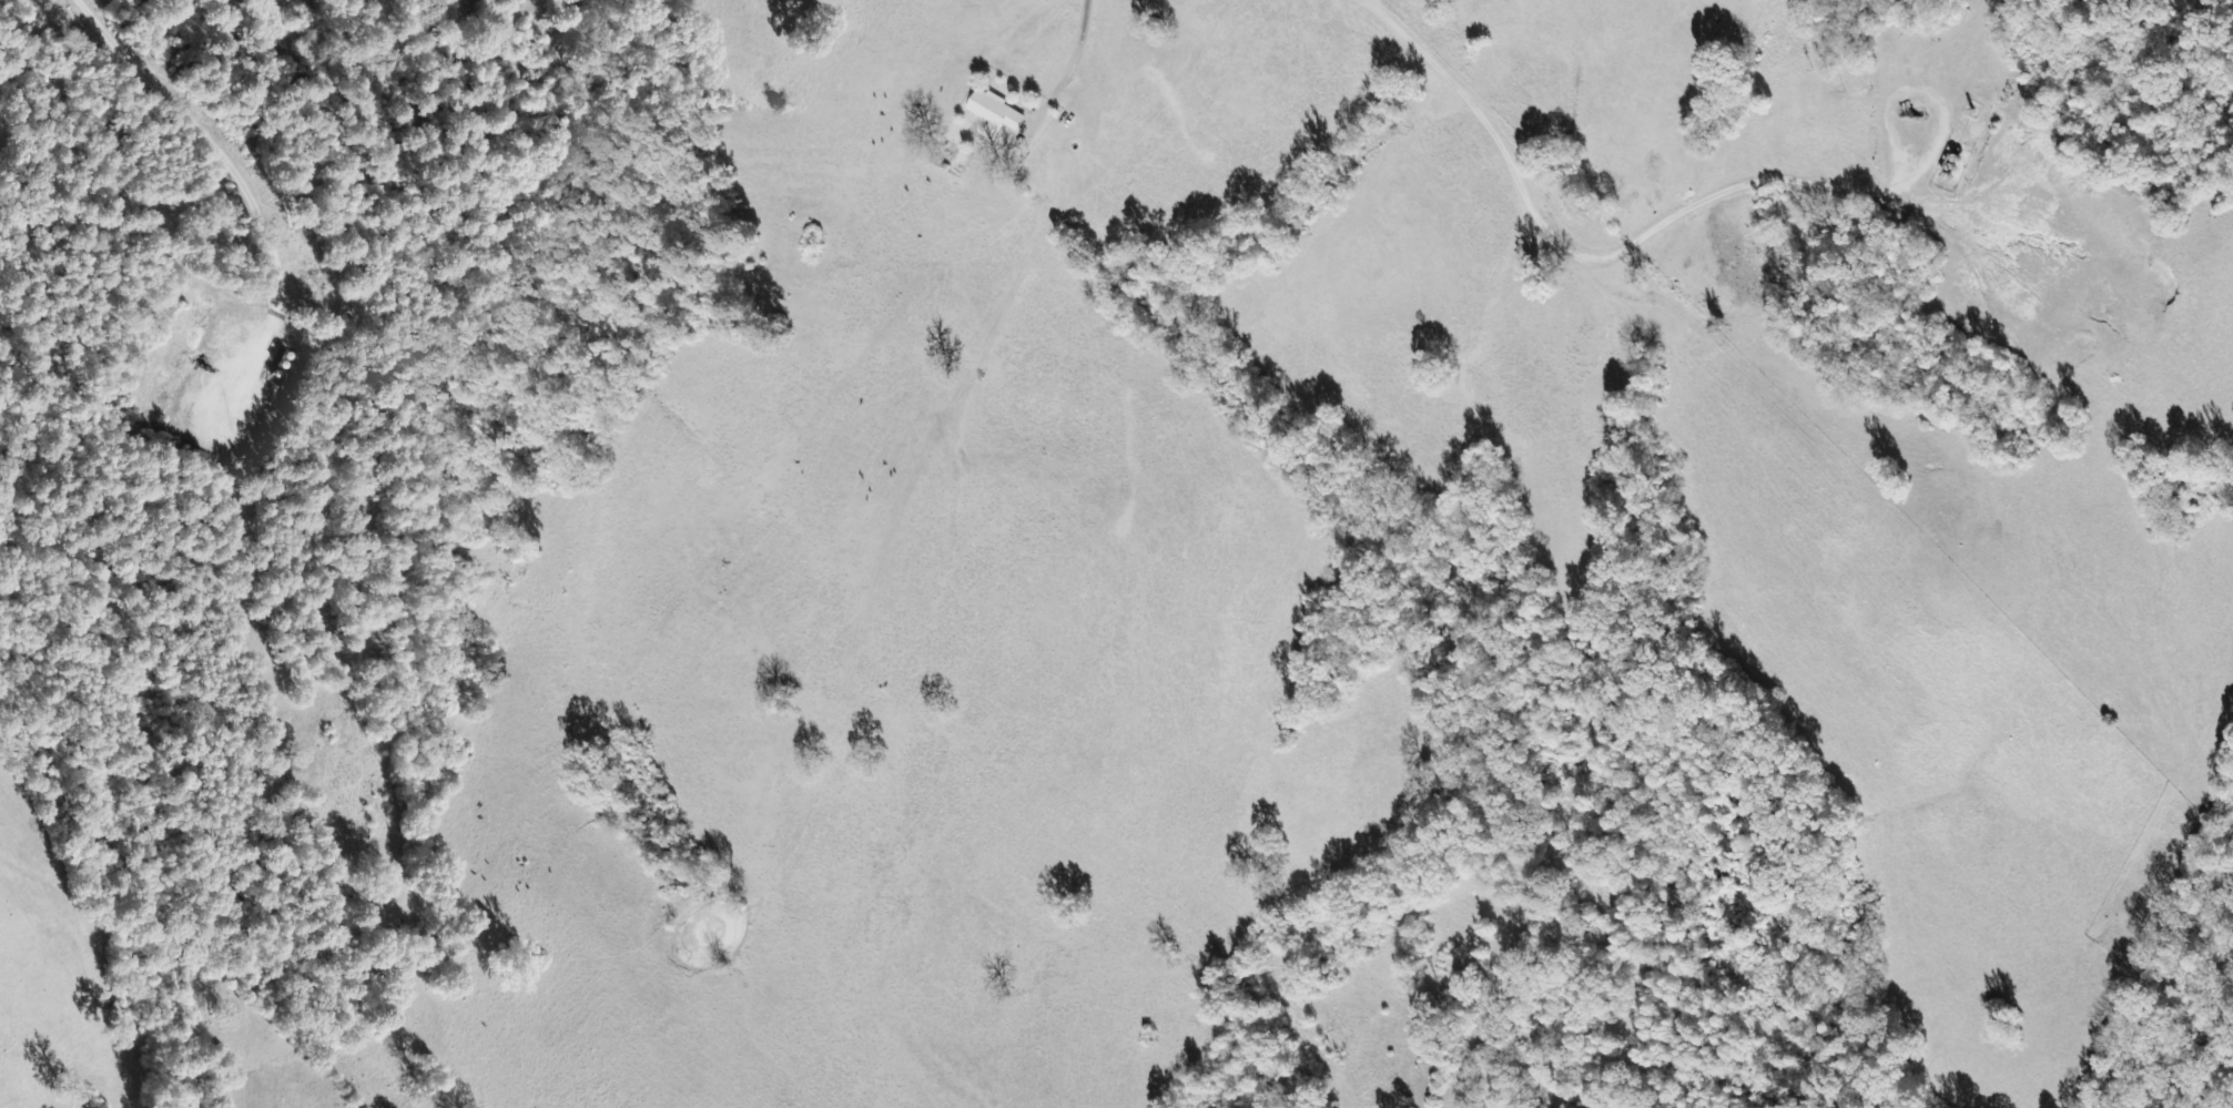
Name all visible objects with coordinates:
building: (993, 113)
petroleum well: (1910, 114)
petroleum well: (202, 370)
road: (914, 621)
road: (2162, 908)

